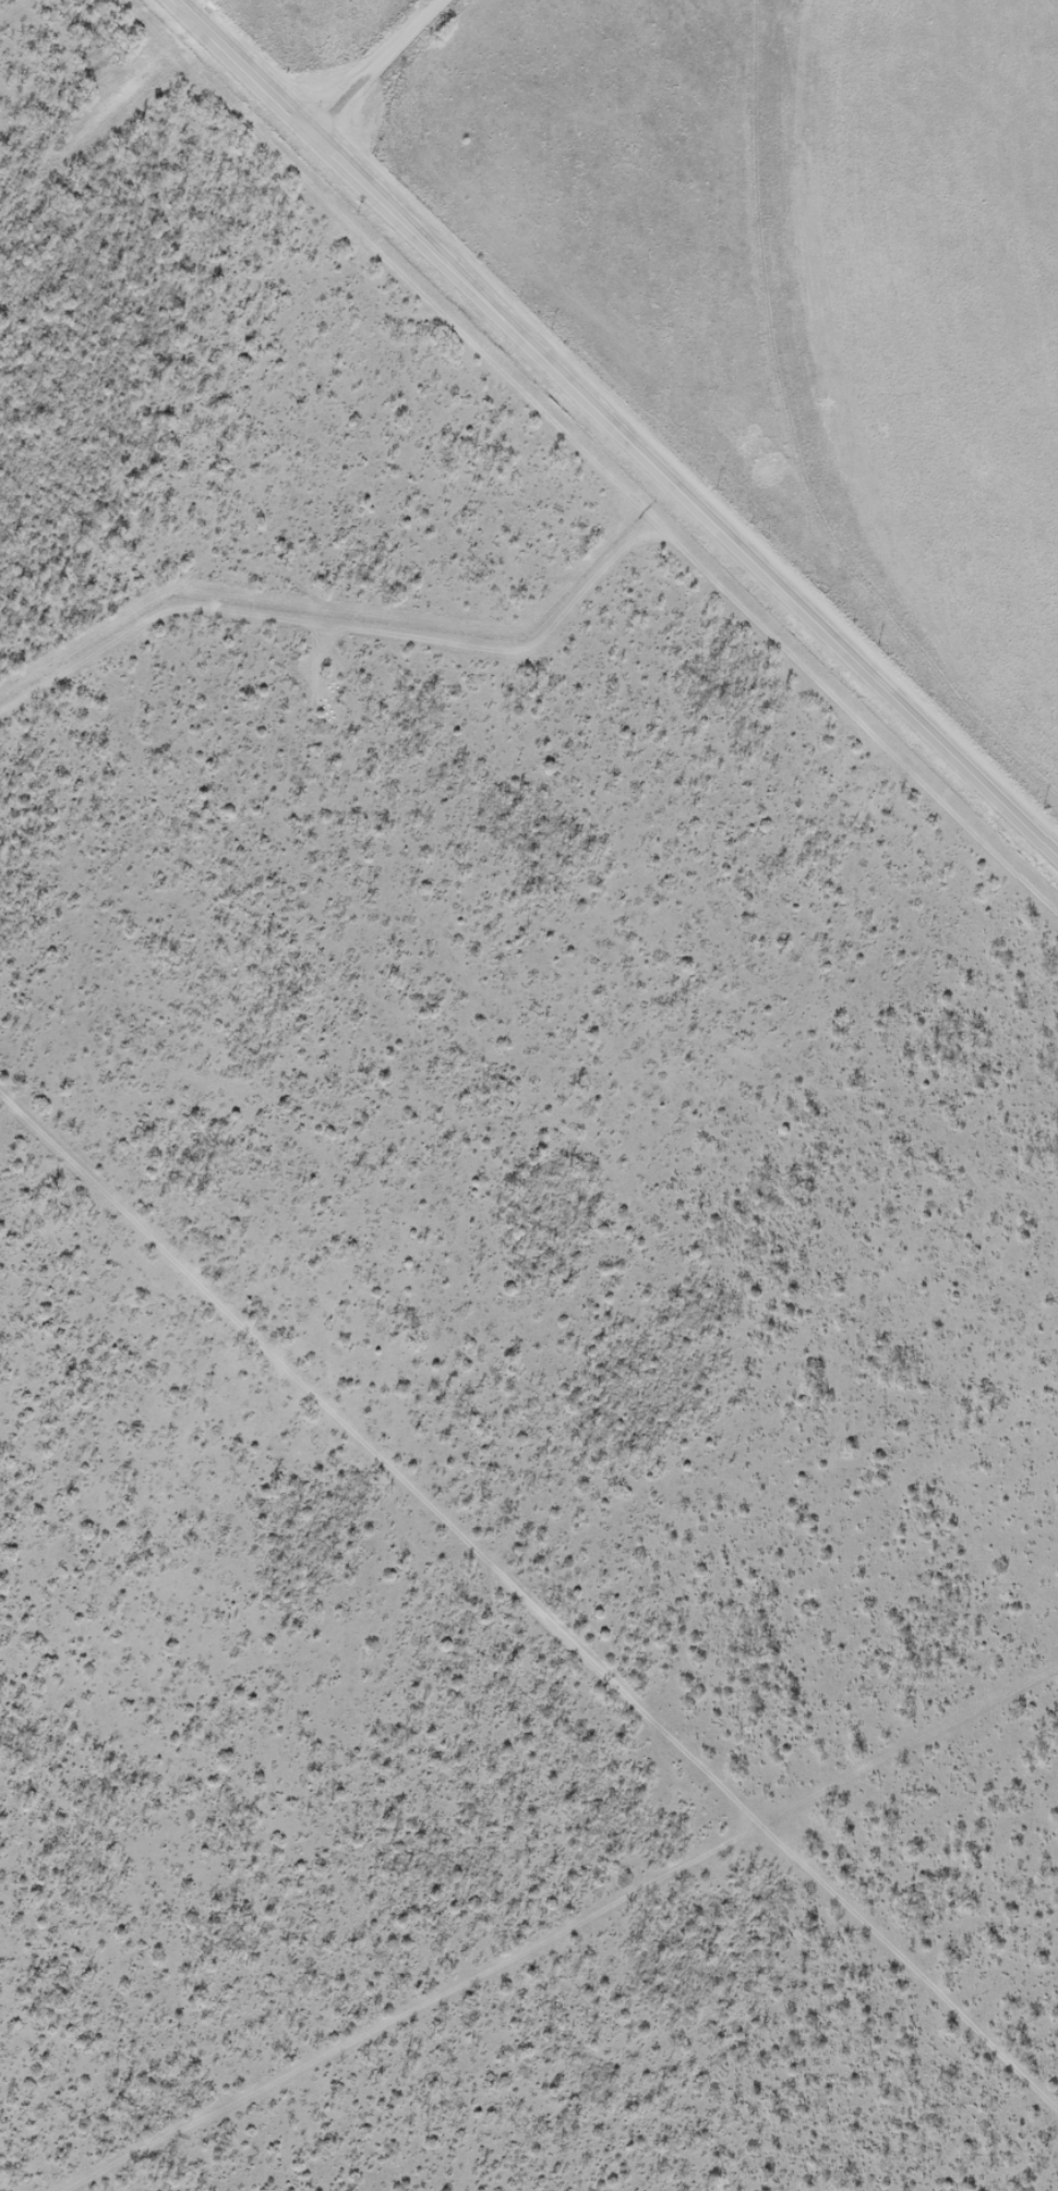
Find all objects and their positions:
road: (34, 24)
road: (374, 70)
road: (608, 431)

